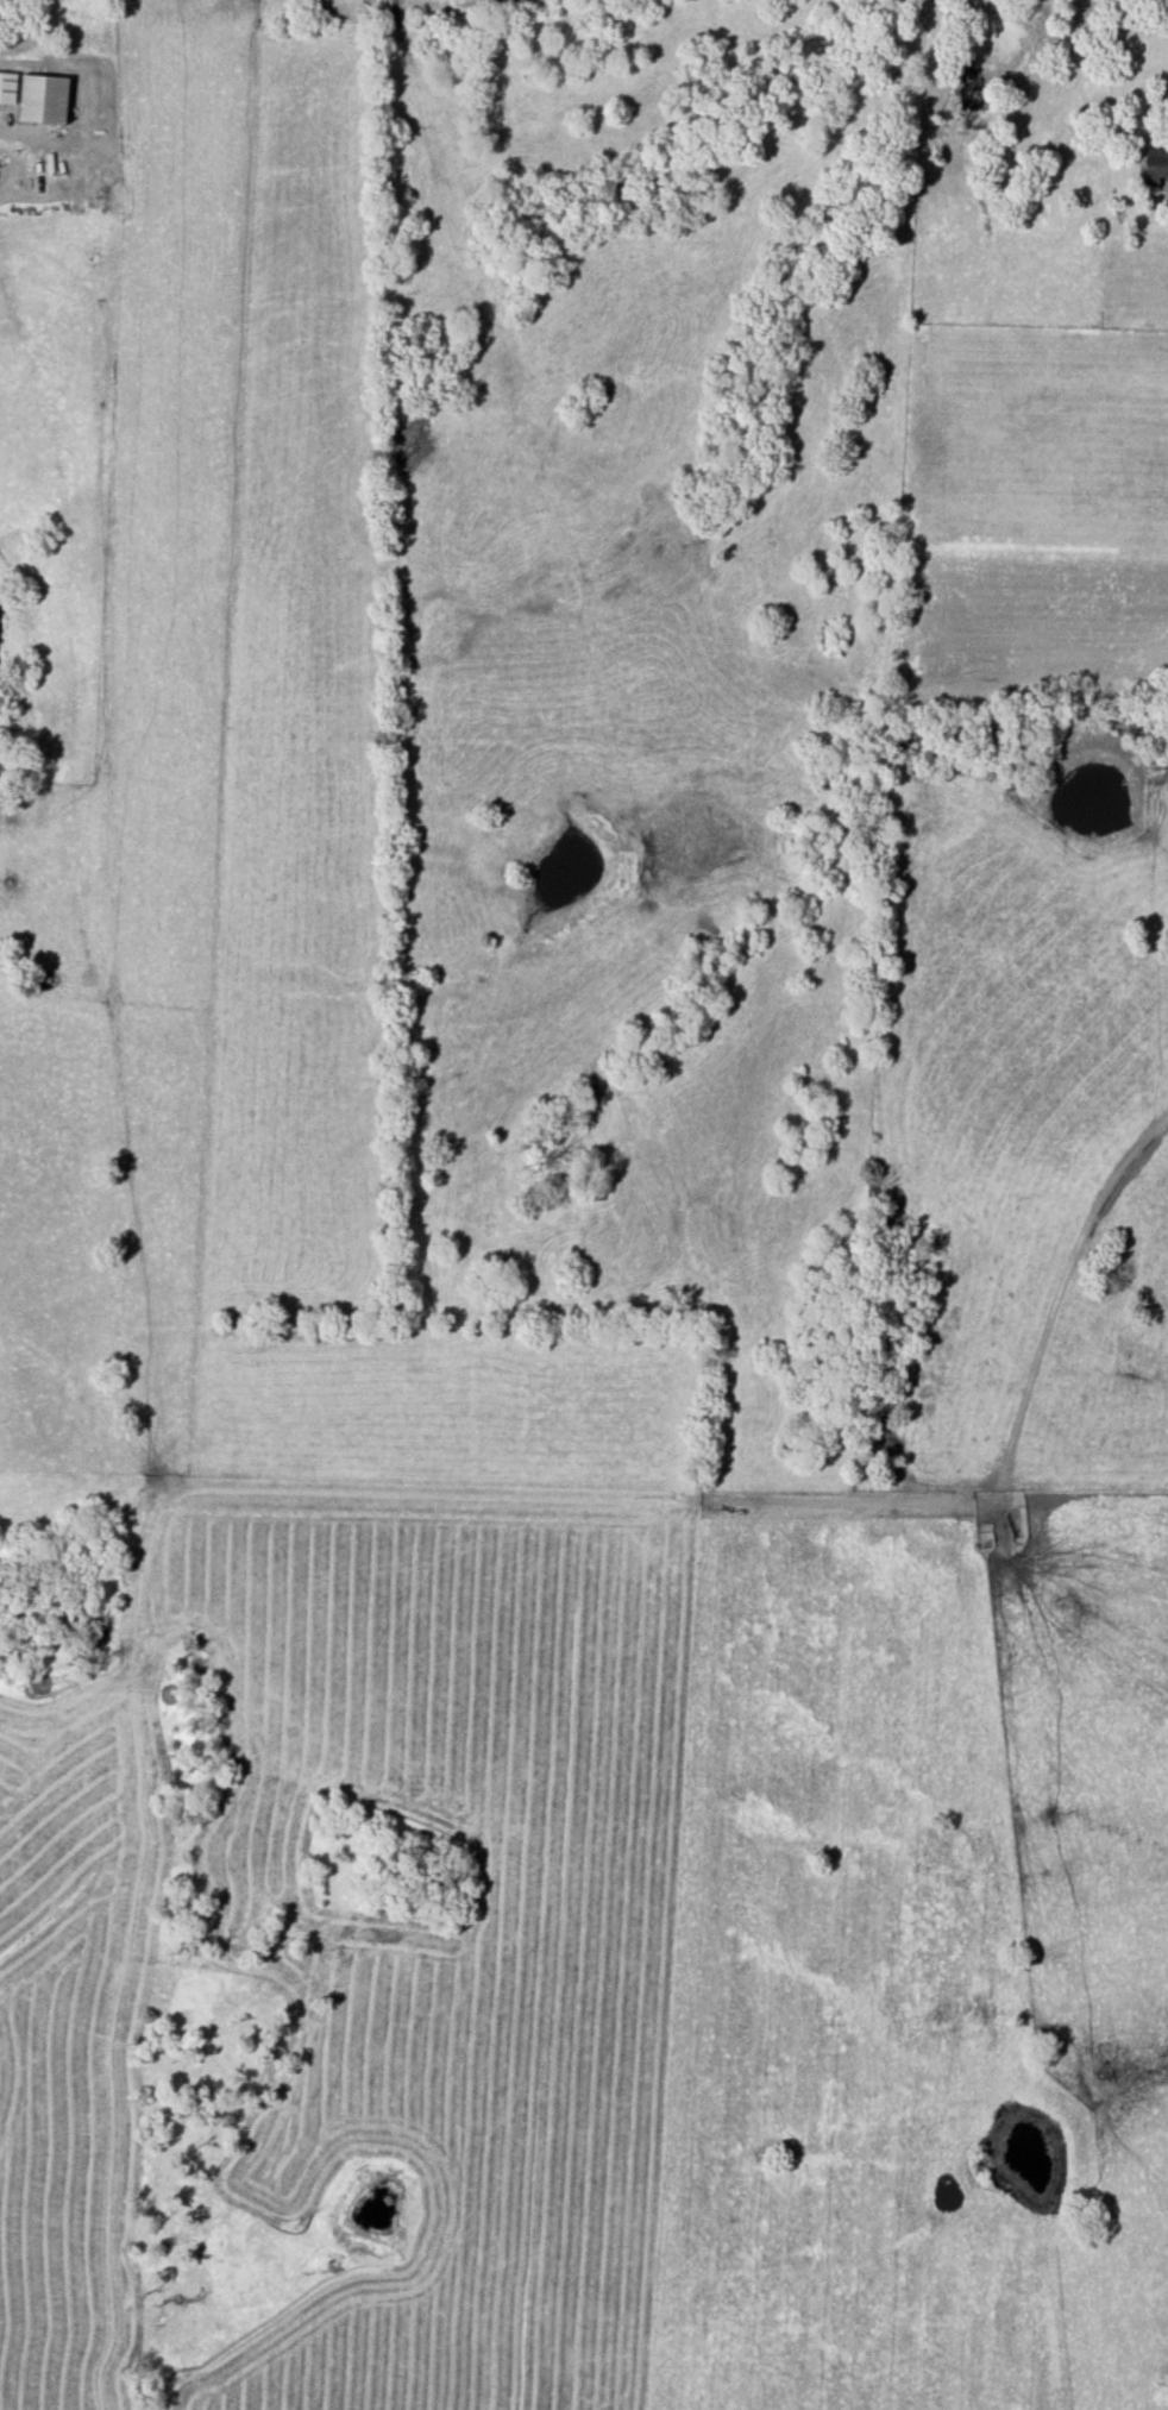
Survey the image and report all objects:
building: (7, 89)
building: (44, 101)
building: (1155, 168)

